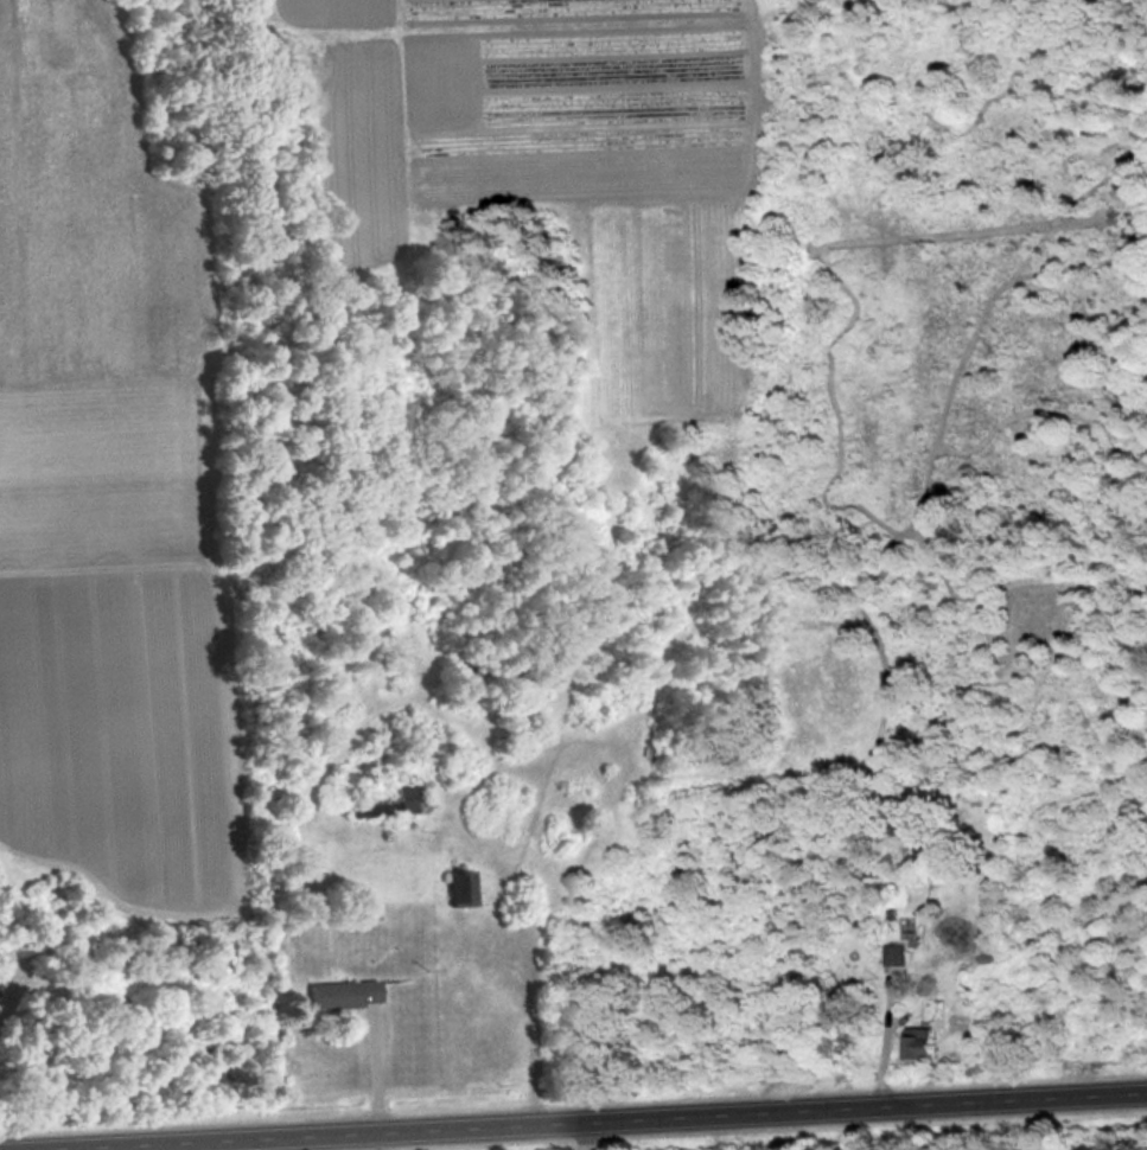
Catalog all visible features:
building: (389, 799)
building: (465, 887)
building: (899, 953)
building: (348, 992)
building: (924, 1042)
road: (573, 1118)
road: (588, 1133)
road: (256, 1143)
road: (117, 1146)

